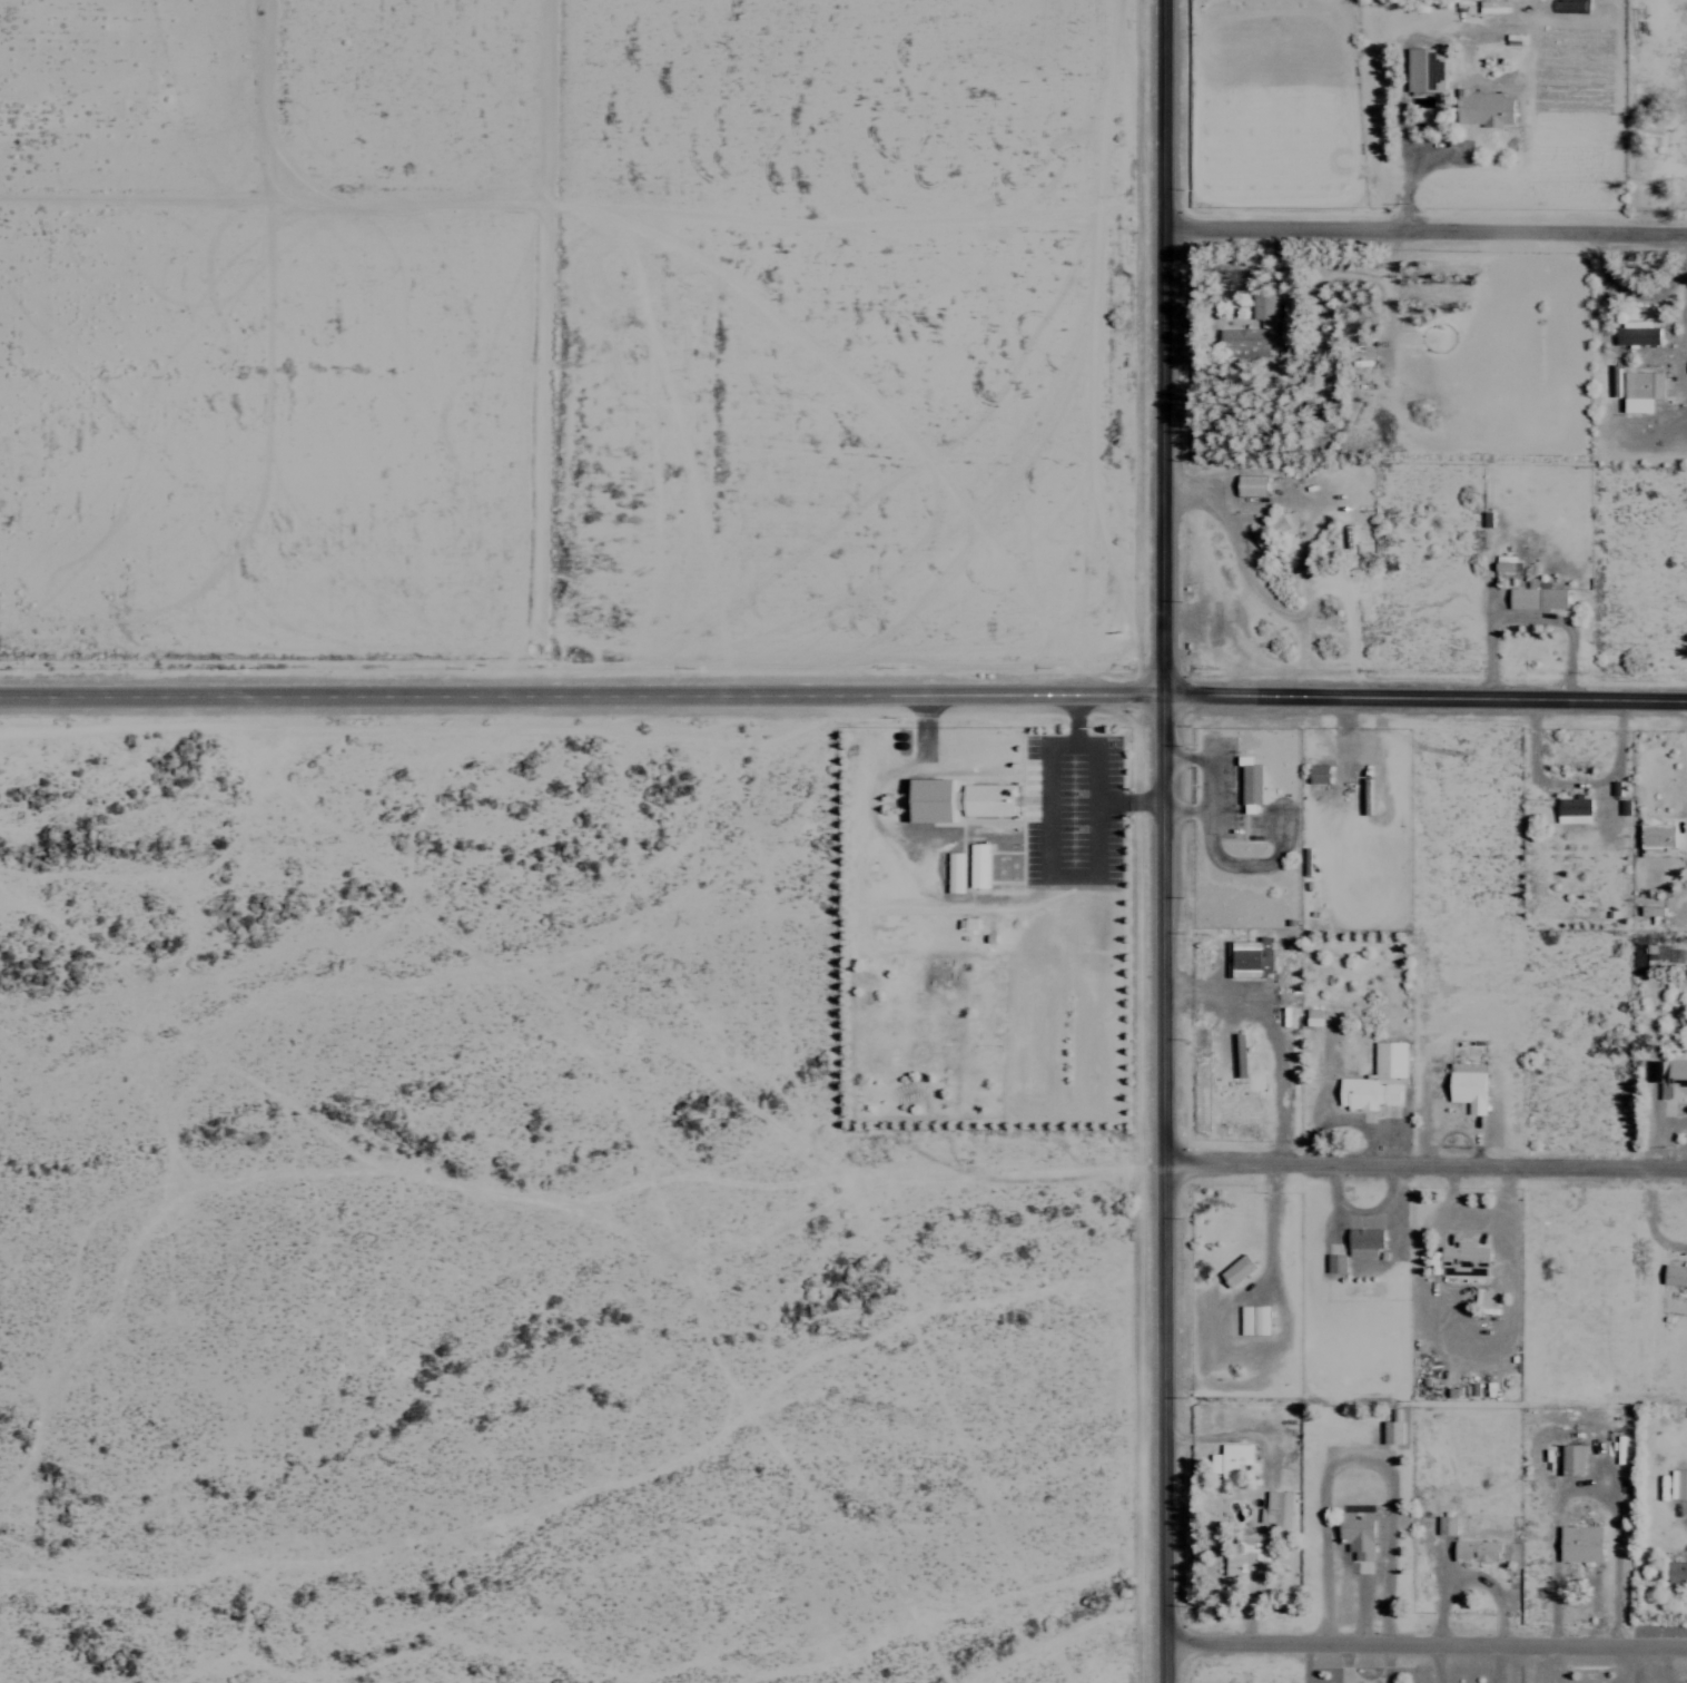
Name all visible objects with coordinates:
building: (1422, 68)
building: (1481, 108)
road: (1424, 226)
building: (1261, 308)
building: (1635, 333)
building: (1241, 341)
building: (1313, 387)
building: (1639, 390)
building: (1249, 485)
building: (1536, 596)
road: (843, 688)
building: (1315, 774)
building: (1247, 780)
building: (927, 799)
building: (987, 799)
building: (1571, 809)
building: (1654, 839)
road: (1161, 840)
building: (976, 865)
building: (953, 873)
building: (1649, 911)
building: (967, 923)
building: (1251, 955)
building: (1311, 1017)
building: (1673, 1075)
building: (1373, 1080)
building: (1466, 1085)
road: (1424, 1164)
building: (1361, 1242)
building: (1461, 1259)
building: (1334, 1263)
building: (1234, 1270)
building: (1674, 1276)
building: (1484, 1300)
building: (1251, 1320)
building: (1390, 1433)
building: (1230, 1460)
building: (1570, 1460)
building: (1677, 1485)
building: (1275, 1509)
building: (1444, 1525)
building: (1354, 1533)
building: (1578, 1544)
building: (1474, 1551)
building: (1245, 1553)
building: (1676, 1572)
road: (1425, 1637)

